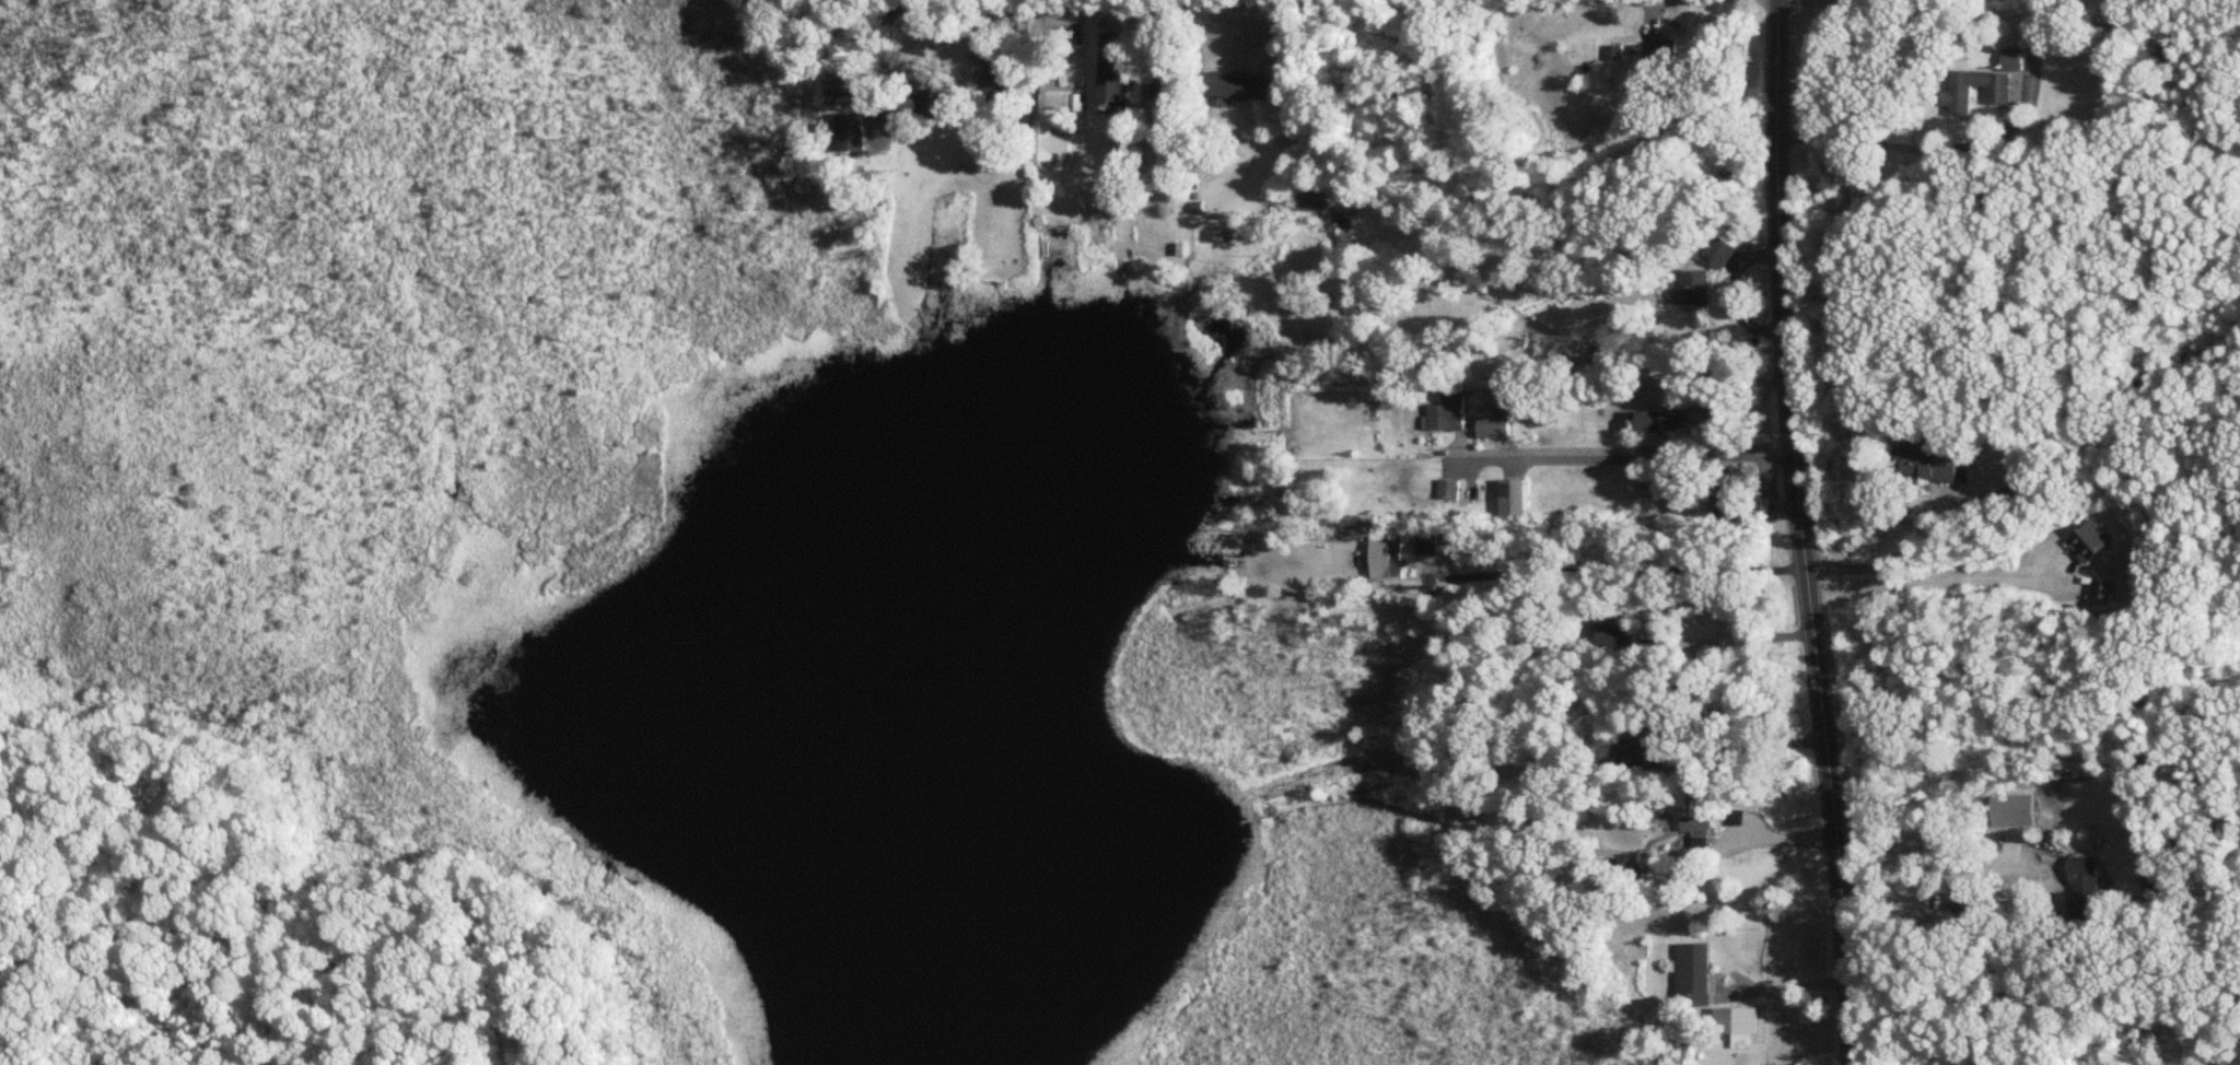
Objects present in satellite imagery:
building: (1168, 30)
building: (2012, 61)
building: (1659, 70)
building: (999, 83)
building: (1167, 86)
building: (1244, 87)
building: (932, 94)
building: (1957, 98)
building: (1058, 101)
building: (850, 133)
road: (1880, 143)
building: (1048, 144)
road: (1448, 165)
building: (1315, 202)
building: (1342, 229)
building: (1696, 290)
building: (1503, 402)
road: (1790, 414)
building: (1448, 417)
building: (1659, 422)
building: (1495, 429)
road: (1617, 453)
building: (1930, 464)
building: (1727, 490)
building: (1515, 498)
building: (2090, 541)
building: (1387, 558)
road: (1614, 570)
road: (1927, 584)
building: (1570, 644)
building: (1662, 670)
building: (1648, 754)
building: (1700, 820)
road: (1772, 831)
building: (2082, 874)
road: (1936, 877)
building: (2088, 910)
road: (1843, 946)
building: (1693, 975)
road: (1784, 984)
building: (1738, 1025)

